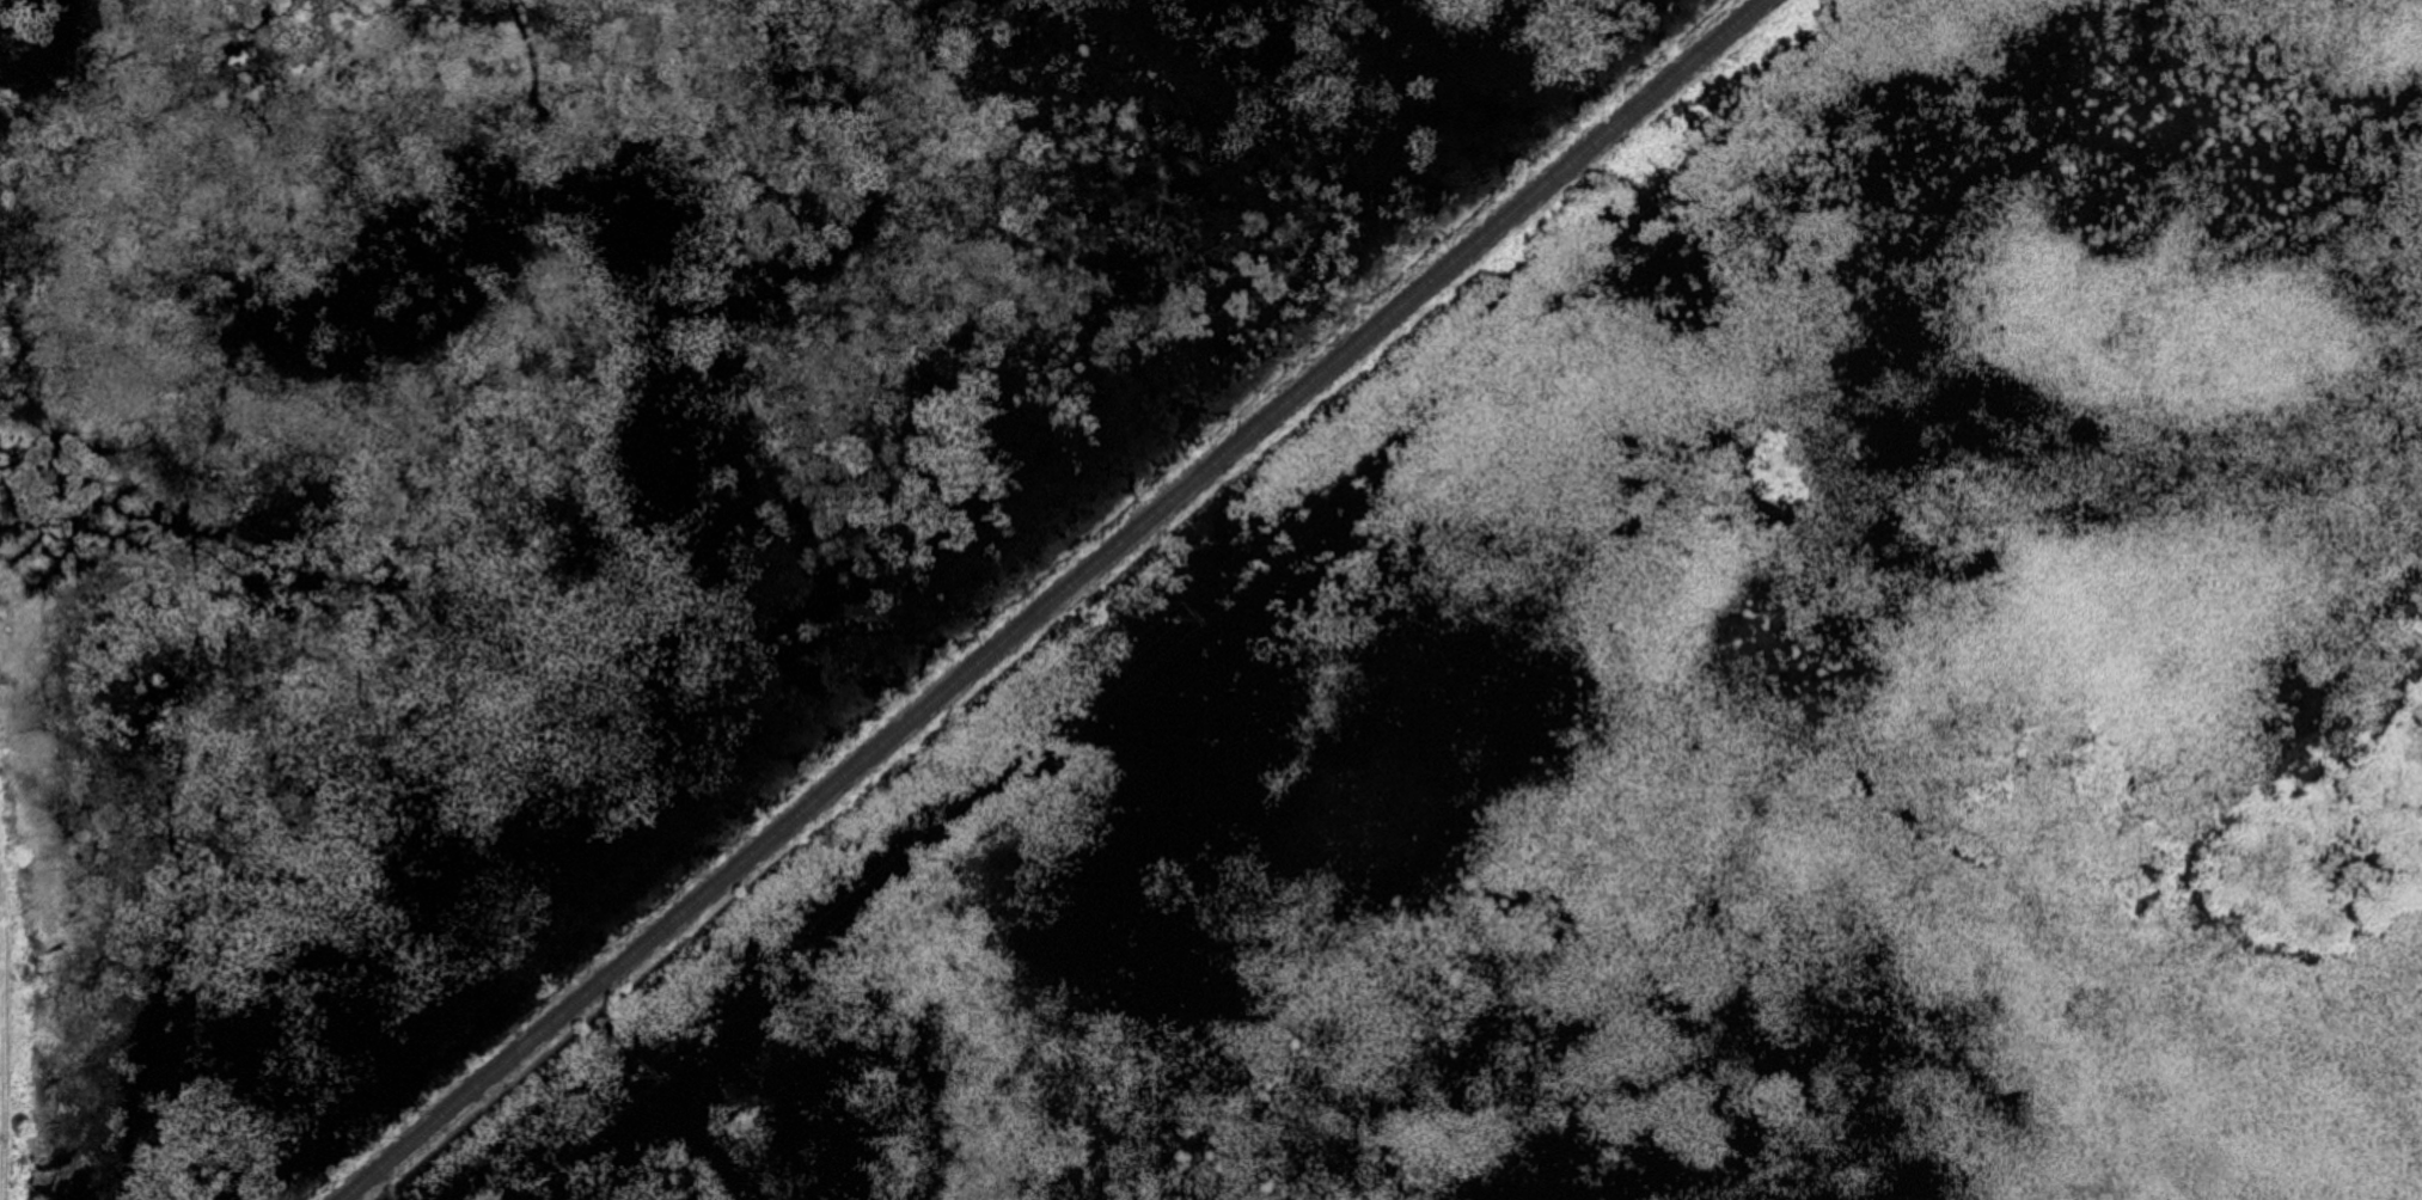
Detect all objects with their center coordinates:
railway: (1050, 600)
road: (4, 1057)

